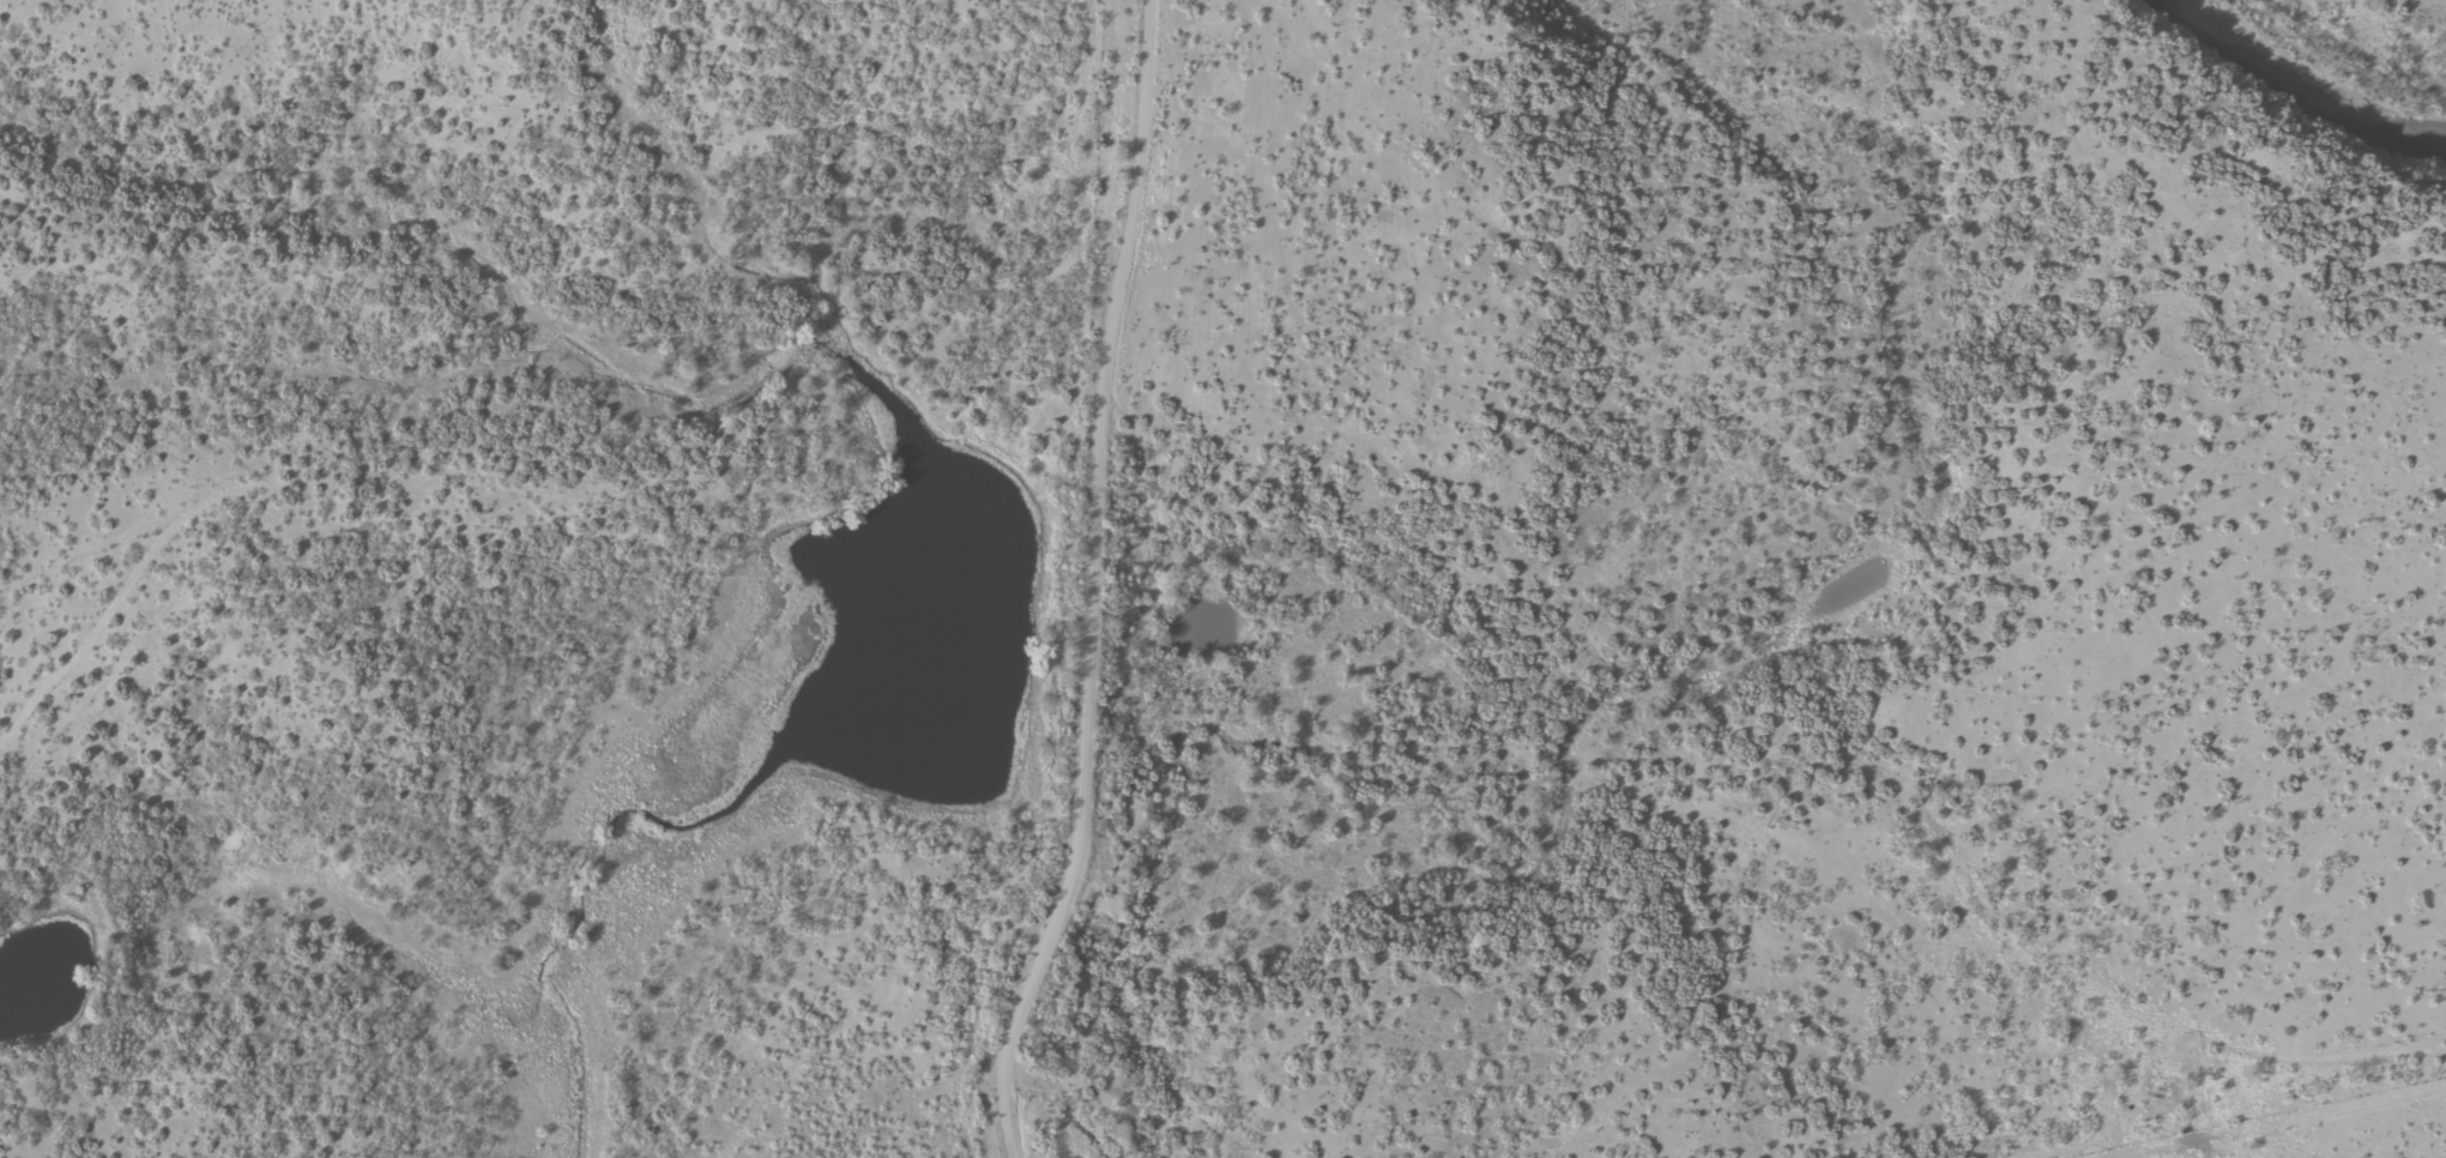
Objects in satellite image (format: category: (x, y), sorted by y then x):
river: (2300, 90)
road: (1094, 586)

